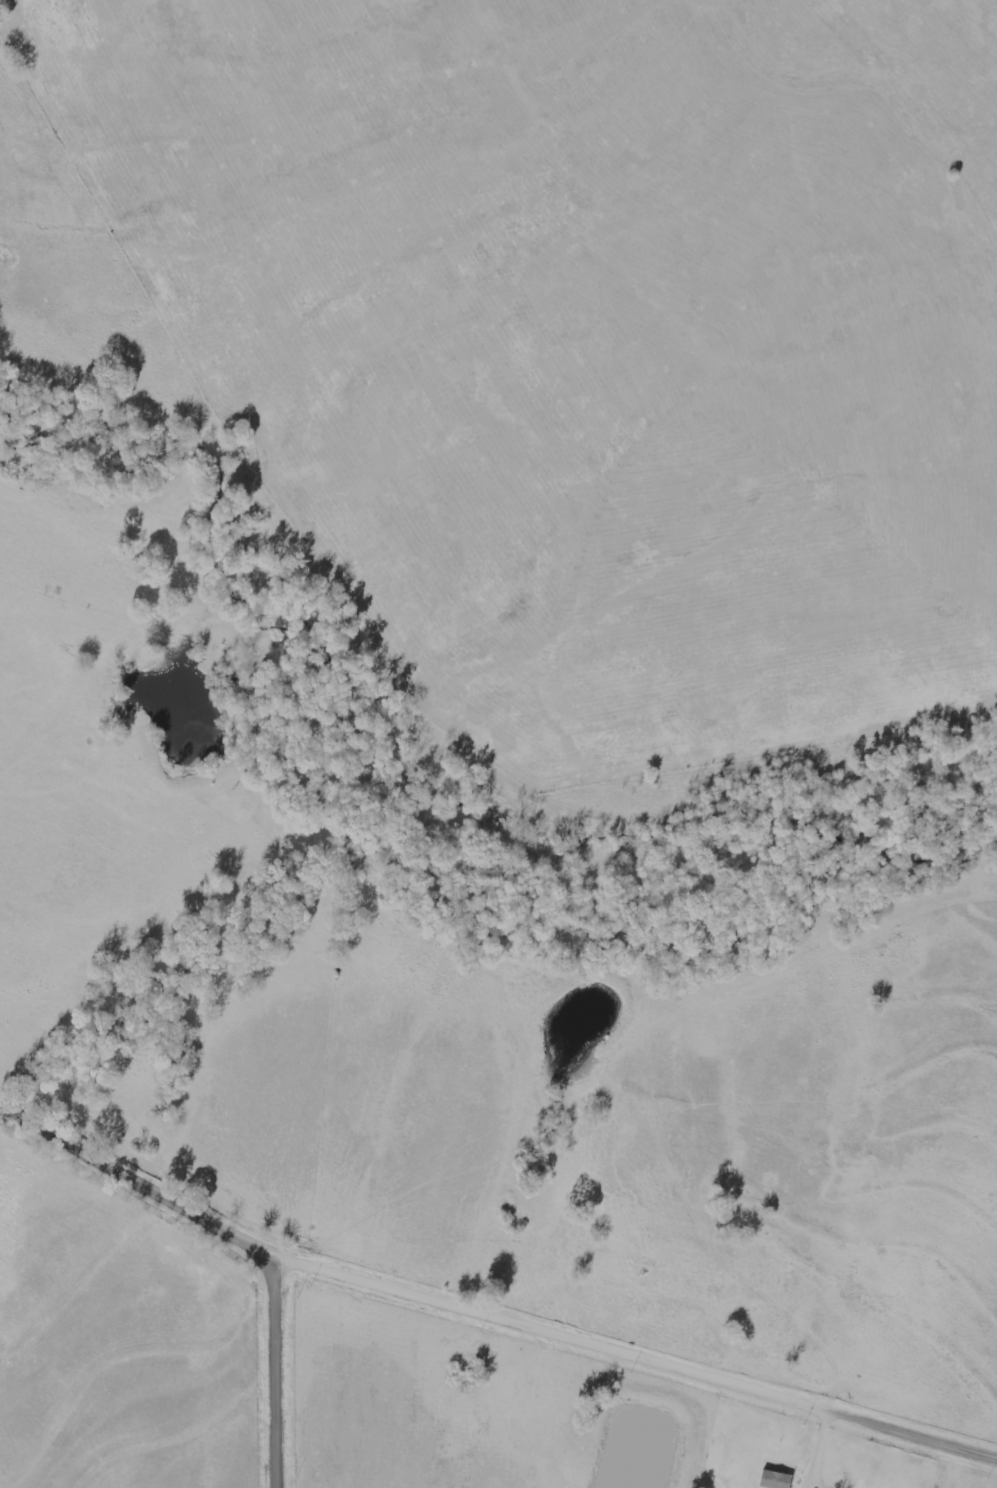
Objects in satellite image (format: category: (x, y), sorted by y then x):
road: (140, 1184)
road: (640, 1355)
road: (283, 1373)
building: (776, 1480)

